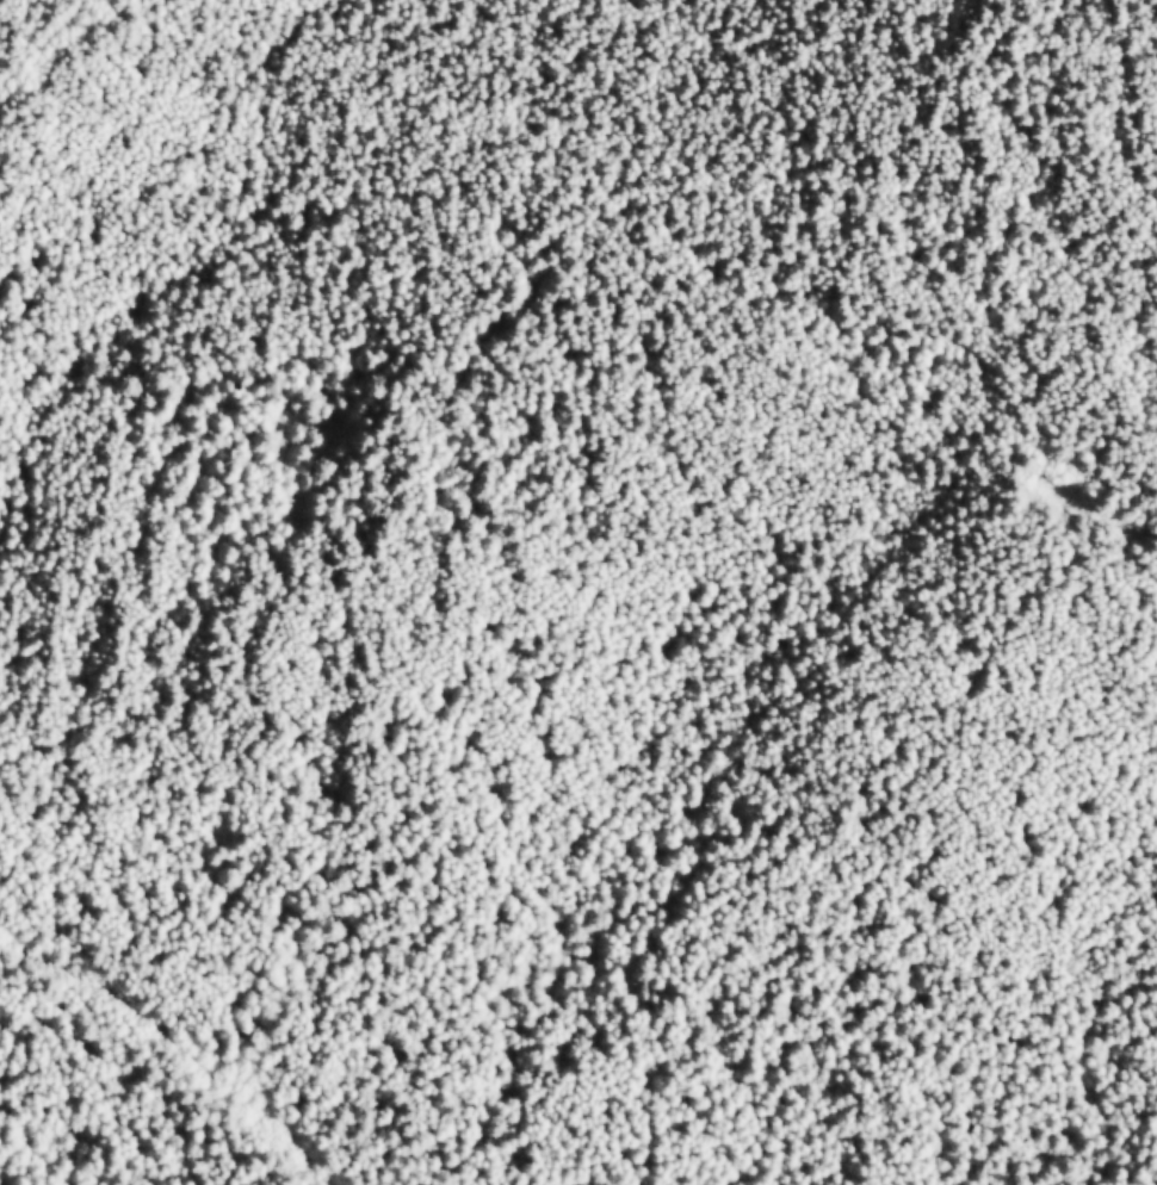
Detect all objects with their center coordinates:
road: (1107, 520)
road: (179, 1040)

